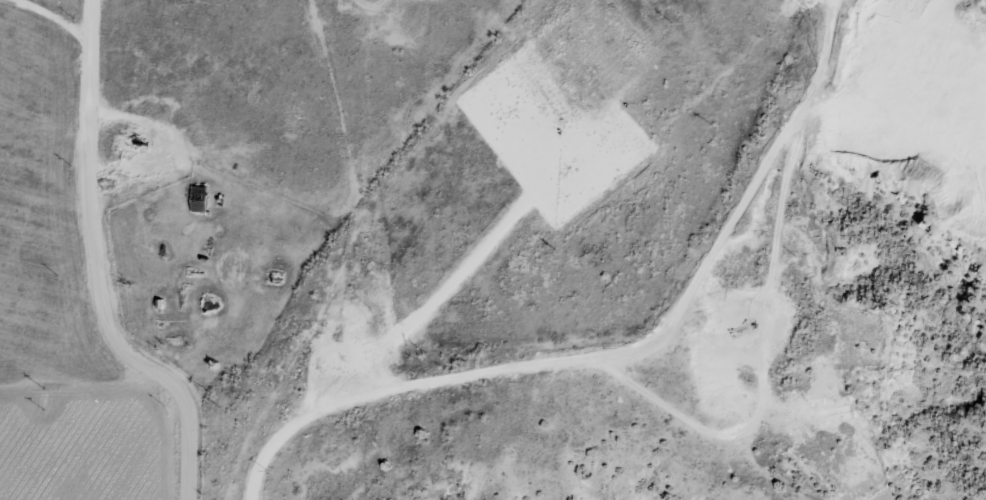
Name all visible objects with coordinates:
building: (195, 199)
road: (125, 212)
road: (597, 339)
road: (95, 414)
road: (191, 453)

